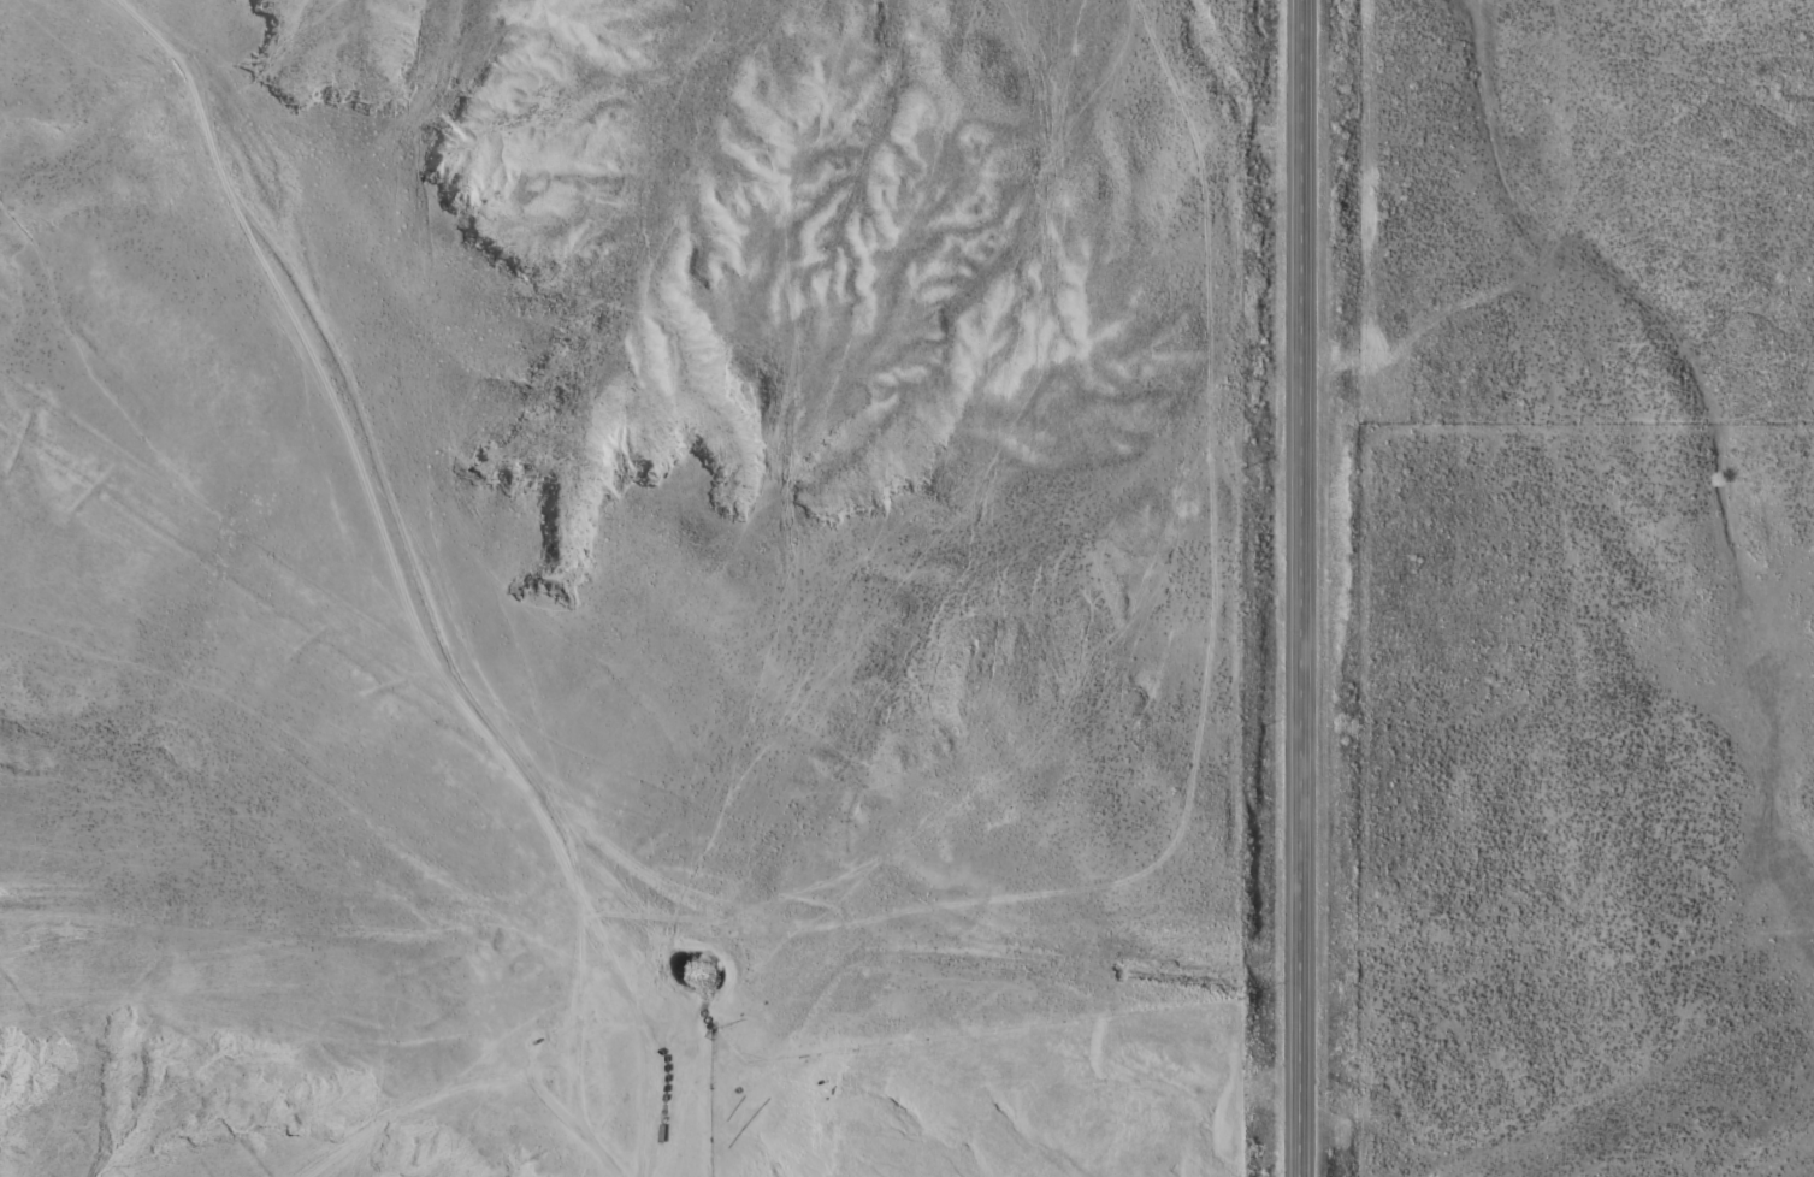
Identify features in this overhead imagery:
road: (1304, 588)

